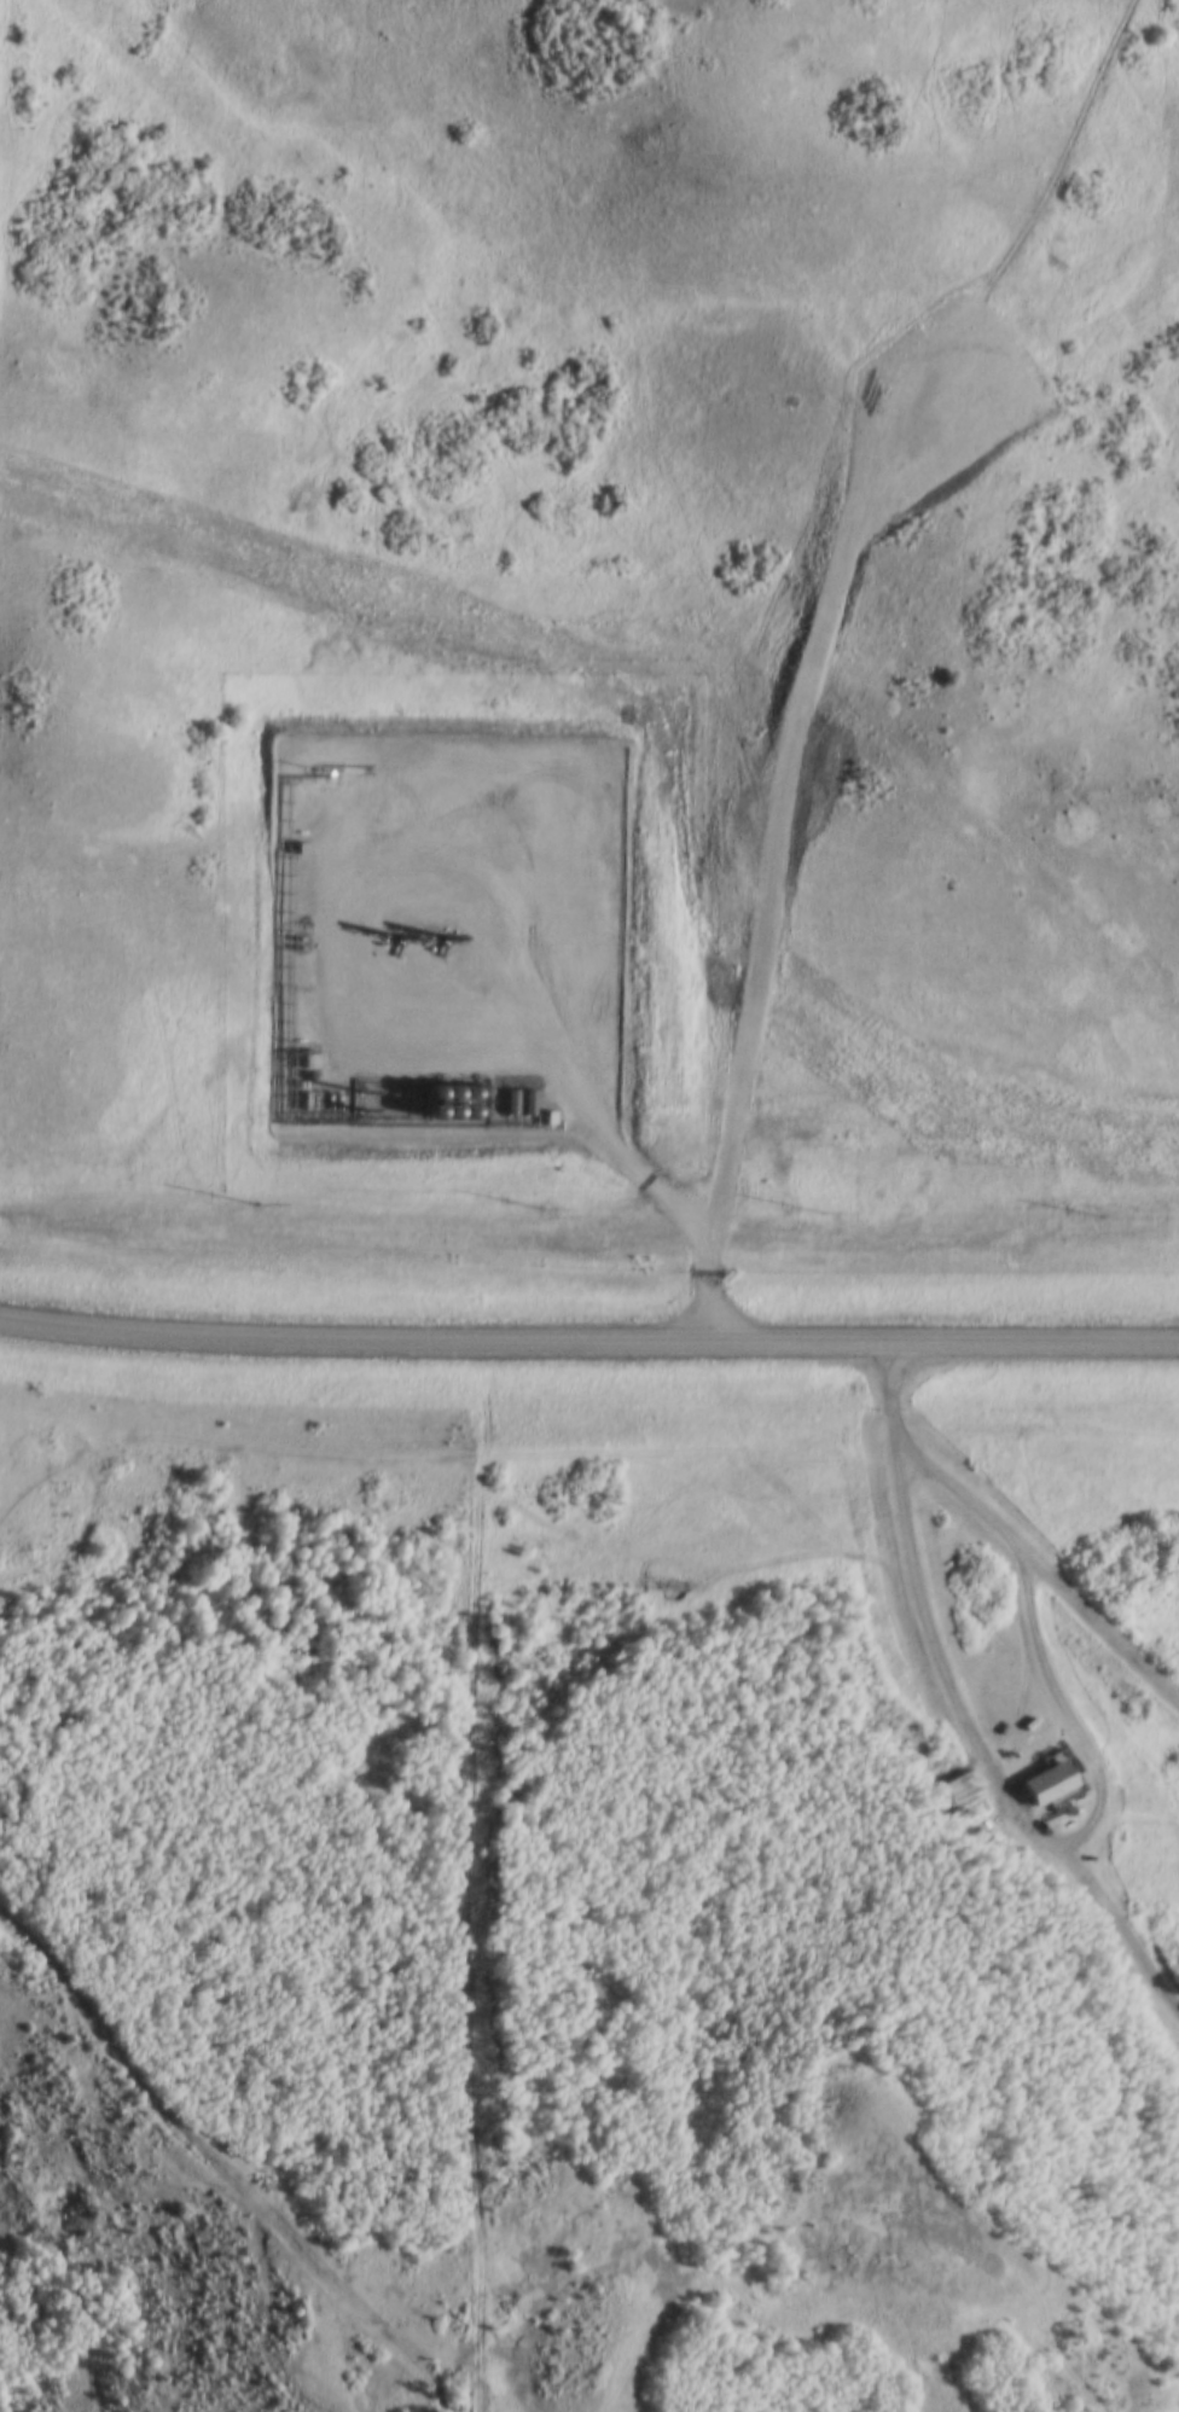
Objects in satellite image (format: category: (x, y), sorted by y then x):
road: (588, 1348)
road: (890, 1399)
road: (1046, 1576)
road: (1071, 1716)
road: (986, 1762)
building: (1045, 1782)

